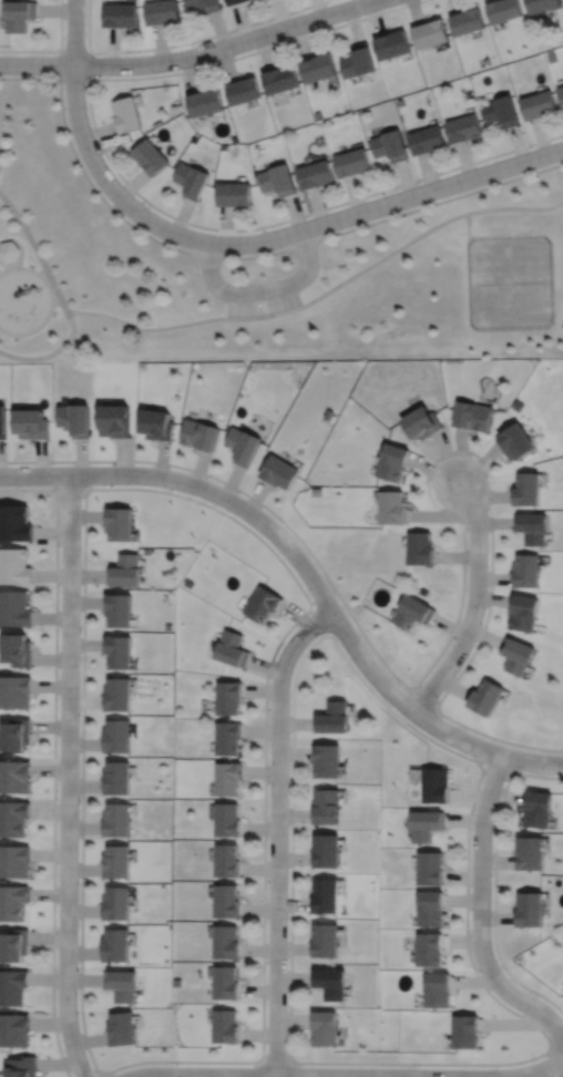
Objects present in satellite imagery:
building: (236, 2)
street lamp: (402, 2)
building: (540, 4)
building: (205, 6)
building: (503, 9)
building: (163, 12)
building: (20, 13)
building: (121, 16)
building: (467, 20)
road: (74, 32)
building: (429, 32)
street lamp: (288, 38)
road: (184, 42)
building: (391, 43)
road: (226, 45)
road: (55, 51)
building: (357, 60)
road: (37, 64)
building: (316, 66)
street lamp: (175, 71)
road: (88, 78)
building: (279, 78)
street lamp: (85, 89)
building: (242, 90)
building: (561, 93)
building: (205, 102)
building: (536, 103)
building: (501, 110)
building: (127, 113)
building: (462, 127)
road: (562, 135)
building: (426, 140)
building: (388, 145)
street lamp: (531, 147)
building: (151, 156)
building: (350, 162)
building: (313, 174)
building: (191, 178)
building: (276, 179)
street lamp: (418, 182)
road: (127, 185)
building: (233, 193)
street lamp: (150, 206)
road: (515, 207)
street lamp: (307, 217)
road: (468, 227)
road: (269, 238)
building: (9, 252)
road: (22, 252)
road: (37, 252)
road: (235, 257)
road: (14, 266)
road: (7, 267)
park: (265, 269)
road: (48, 277)
park: (509, 283)
road: (260, 290)
road: (55, 296)
parking lot: (262, 296)
road: (52, 300)
road: (278, 312)
road: (50, 355)
building: (329, 414)
building: (471, 417)
building: (74, 419)
building: (114, 420)
building: (2, 423)
building: (30, 423)
building: (420, 423)
building: (156, 424)
building: (199, 434)
building: (515, 442)
building: (243, 445)
street lamp: (53, 463)
building: (391, 463)
building: (279, 472)
road: (71, 489)
building: (526, 490)
building: (317, 492)
building: (392, 507)
building: (14, 524)
building: (119, 524)
road: (243, 524)
building: (532, 529)
street lamp: (59, 544)
building: (419, 550)
building: (14, 566)
road: (306, 570)
building: (124, 572)
building: (525, 572)
road: (461, 599)
road: (474, 603)
building: (262, 605)
building: (14, 609)
building: (119, 611)
building: (413, 613)
building: (523, 614)
road: (317, 622)
building: (231, 649)
building: (17, 652)
building: (119, 652)
building: (515, 655)
street lamp: (80, 673)
building: (16, 691)
building: (117, 694)
road: (426, 694)
building: (485, 695)
building: (228, 697)
building: (336, 715)
building: (14, 732)
building: (116, 734)
building: (227, 735)
road: (54, 755)
road: (461, 755)
building: (328, 759)
road: (492, 766)
building: (16, 776)
road: (68, 777)
building: (116, 777)
building: (227, 778)
building: (437, 783)
street lamp: (57, 798)
building: (327, 804)
building: (539, 807)
building: (13, 817)
building: (115, 819)
building: (227, 819)
building: (427, 823)
road: (277, 832)
building: (328, 850)
building: (530, 852)
building: (226, 860)
building: (14, 861)
building: (115, 861)
building: (431, 866)
road: (494, 879)
building: (327, 894)
building: (225, 901)
building: (13, 902)
building: (115, 903)
building: (431, 907)
building: (530, 907)
road: (480, 912)
street lamp: (78, 924)
building: (327, 940)
building: (225, 942)
building: (14, 945)
building: (114, 945)
building: (430, 948)
building: (332, 982)
building: (225, 983)
building: (120, 985)
building: (13, 987)
building: (438, 988)
building: (225, 1027)
building: (326, 1027)
building: (121, 1029)
building: (14, 1030)
building: (467, 1032)
road: (555, 1038)
street lamp: (62, 1049)
road: (276, 1061)
road: (553, 1063)
building: (23, 1067)
road: (88, 1073)
road: (530, 1073)
road: (111, 1074)
road: (303, 1076)
road: (562, 1076)

